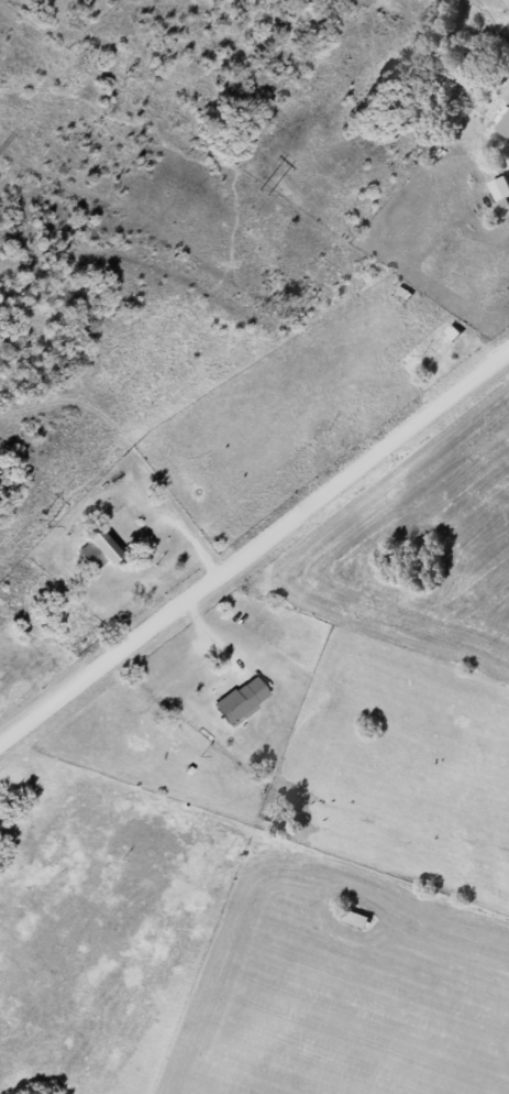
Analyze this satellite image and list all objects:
building: (504, 125)
building: (498, 188)
power tower: (262, 192)
building: (441, 354)
power tower: (41, 521)
road: (254, 547)
building: (90, 548)
building: (235, 700)
building: (352, 916)

